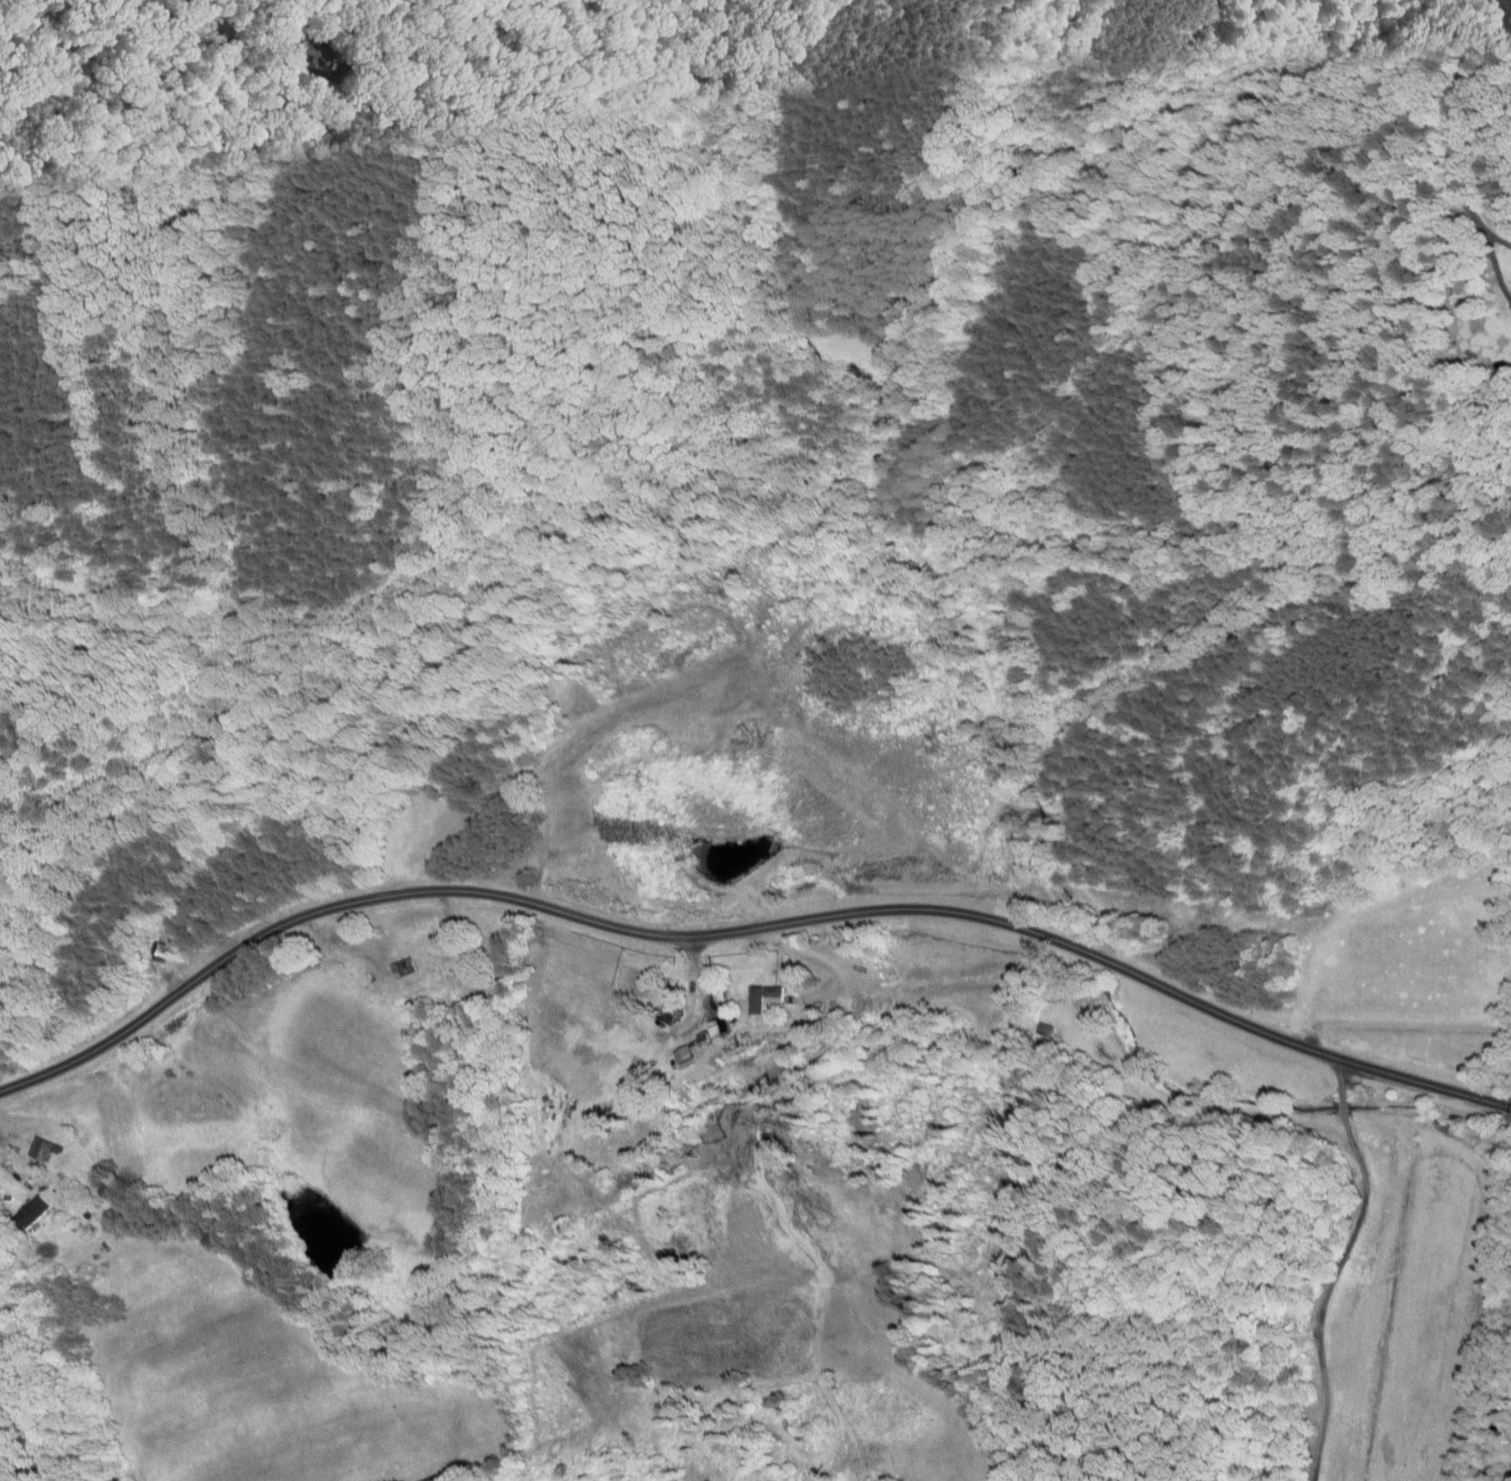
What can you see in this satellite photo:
road: (244, 51)
road: (1456, 118)
building: (1508, 284)
building: (1508, 304)
road: (742, 928)
building: (751, 991)
building: (669, 1047)
road: (1509, 1105)
building: (26, 1143)
road: (18, 1174)
building: (19, 1204)
road: (1338, 1266)

